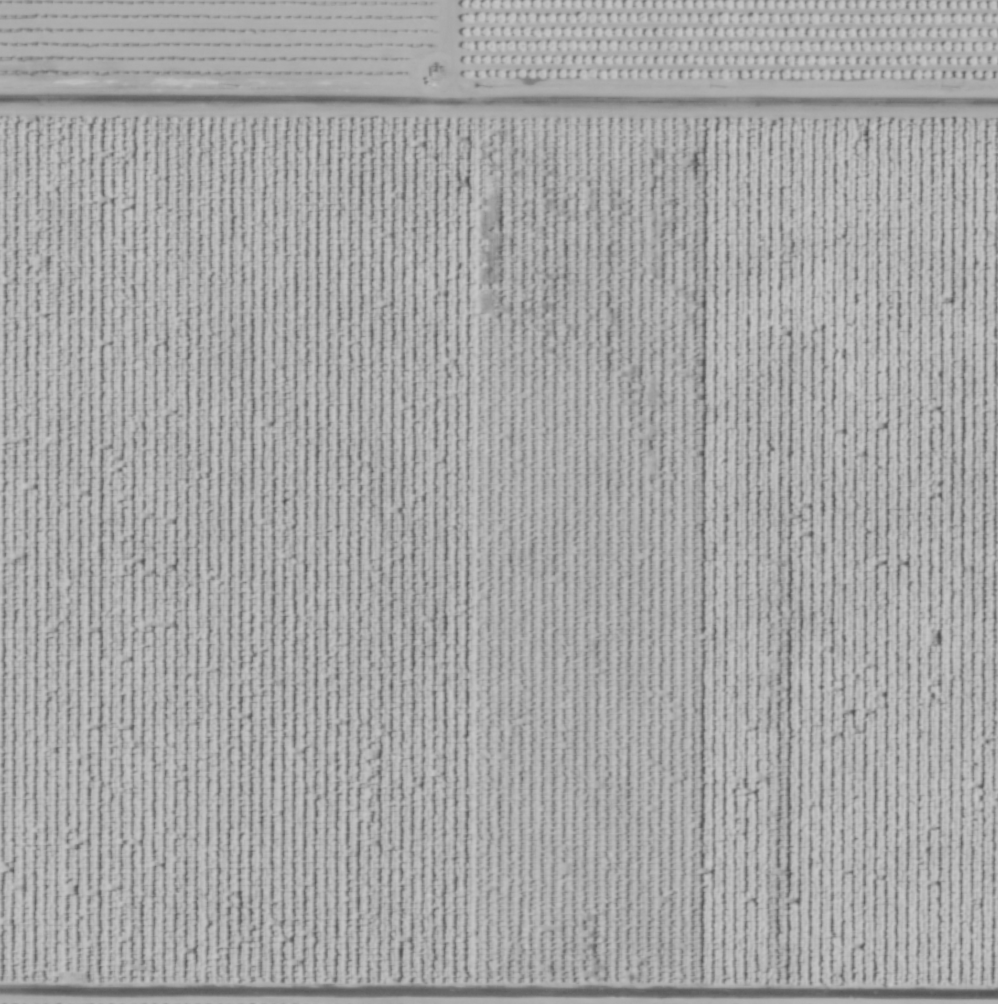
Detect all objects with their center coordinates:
road: (499, 117)
crop: (499, 502)

